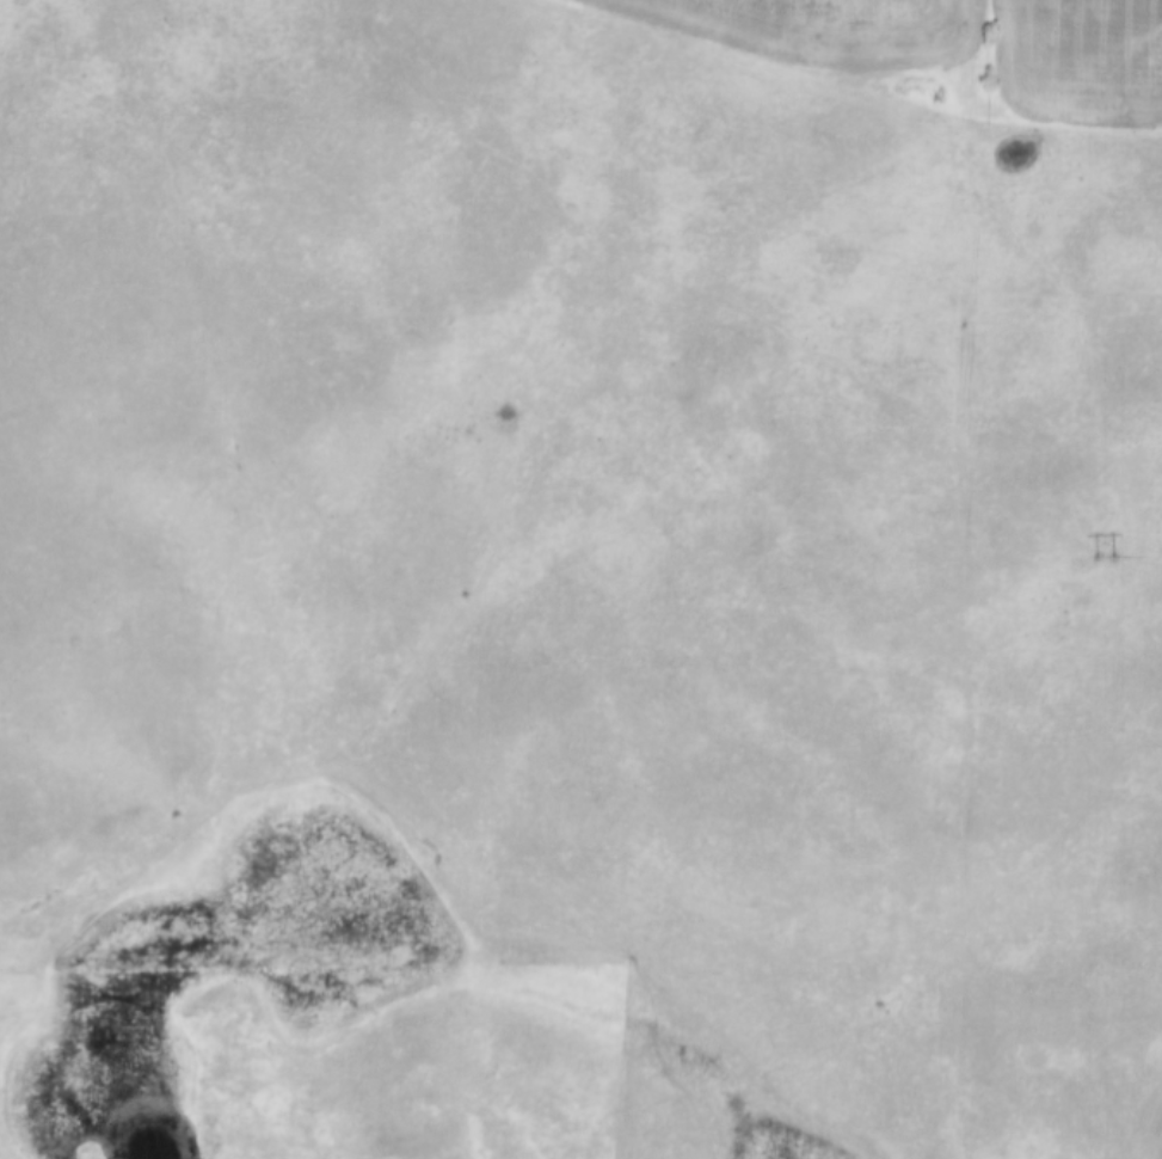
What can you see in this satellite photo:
power tower: (1105, 559)

